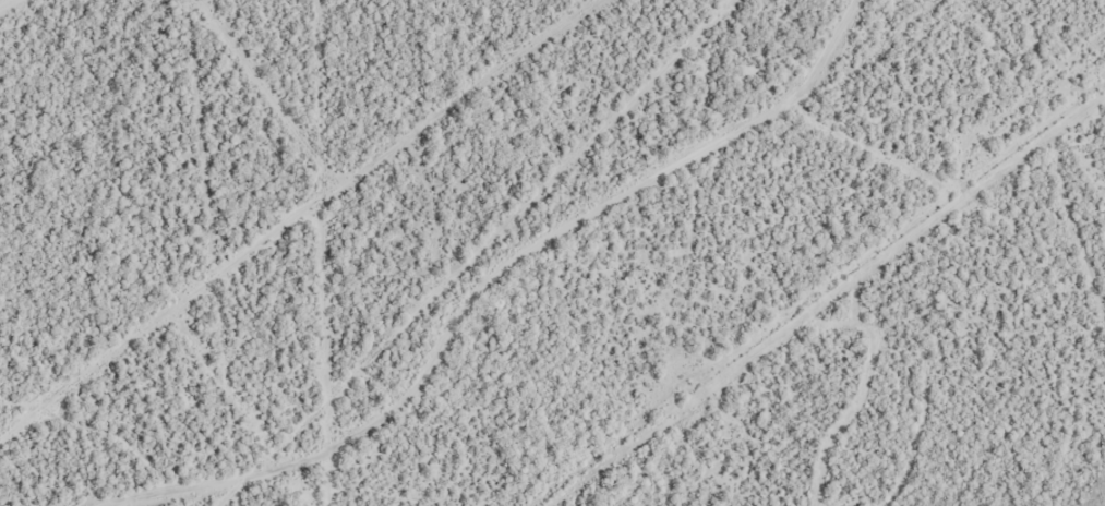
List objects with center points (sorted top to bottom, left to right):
road: (1074, 109)

